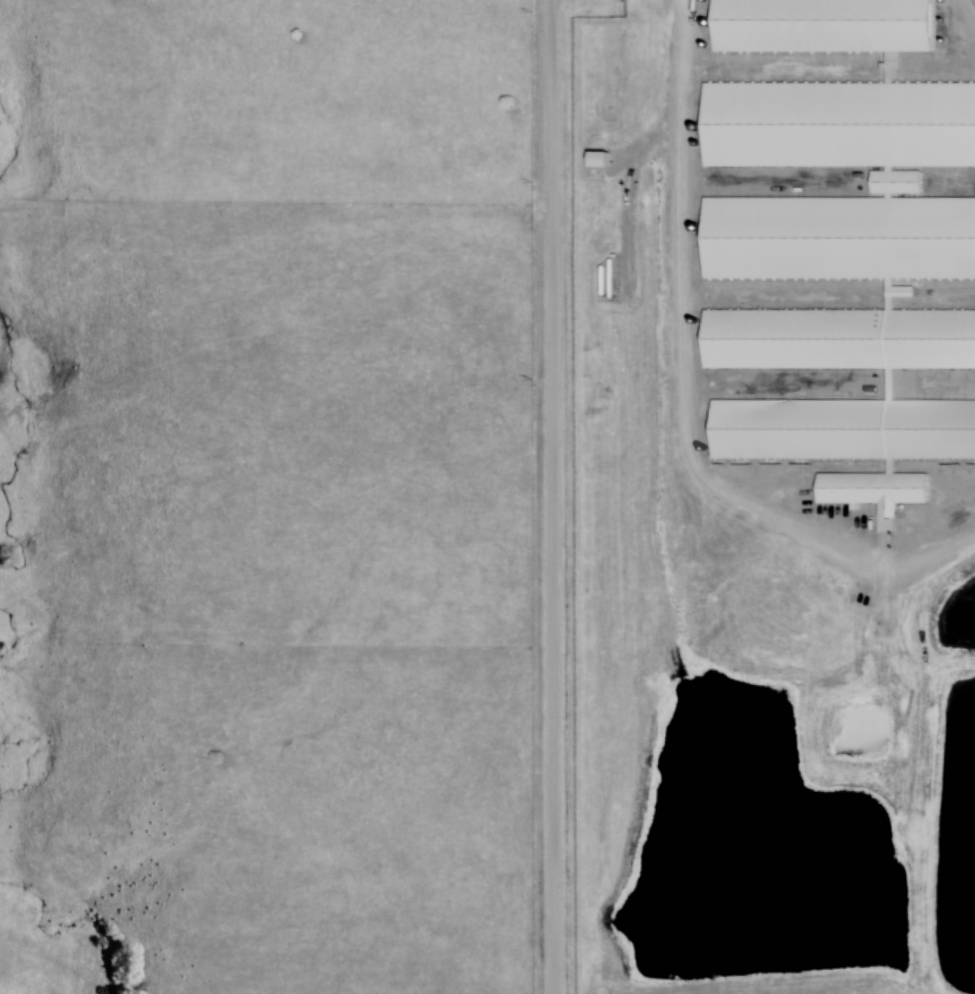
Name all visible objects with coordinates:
road: (550, 496)

